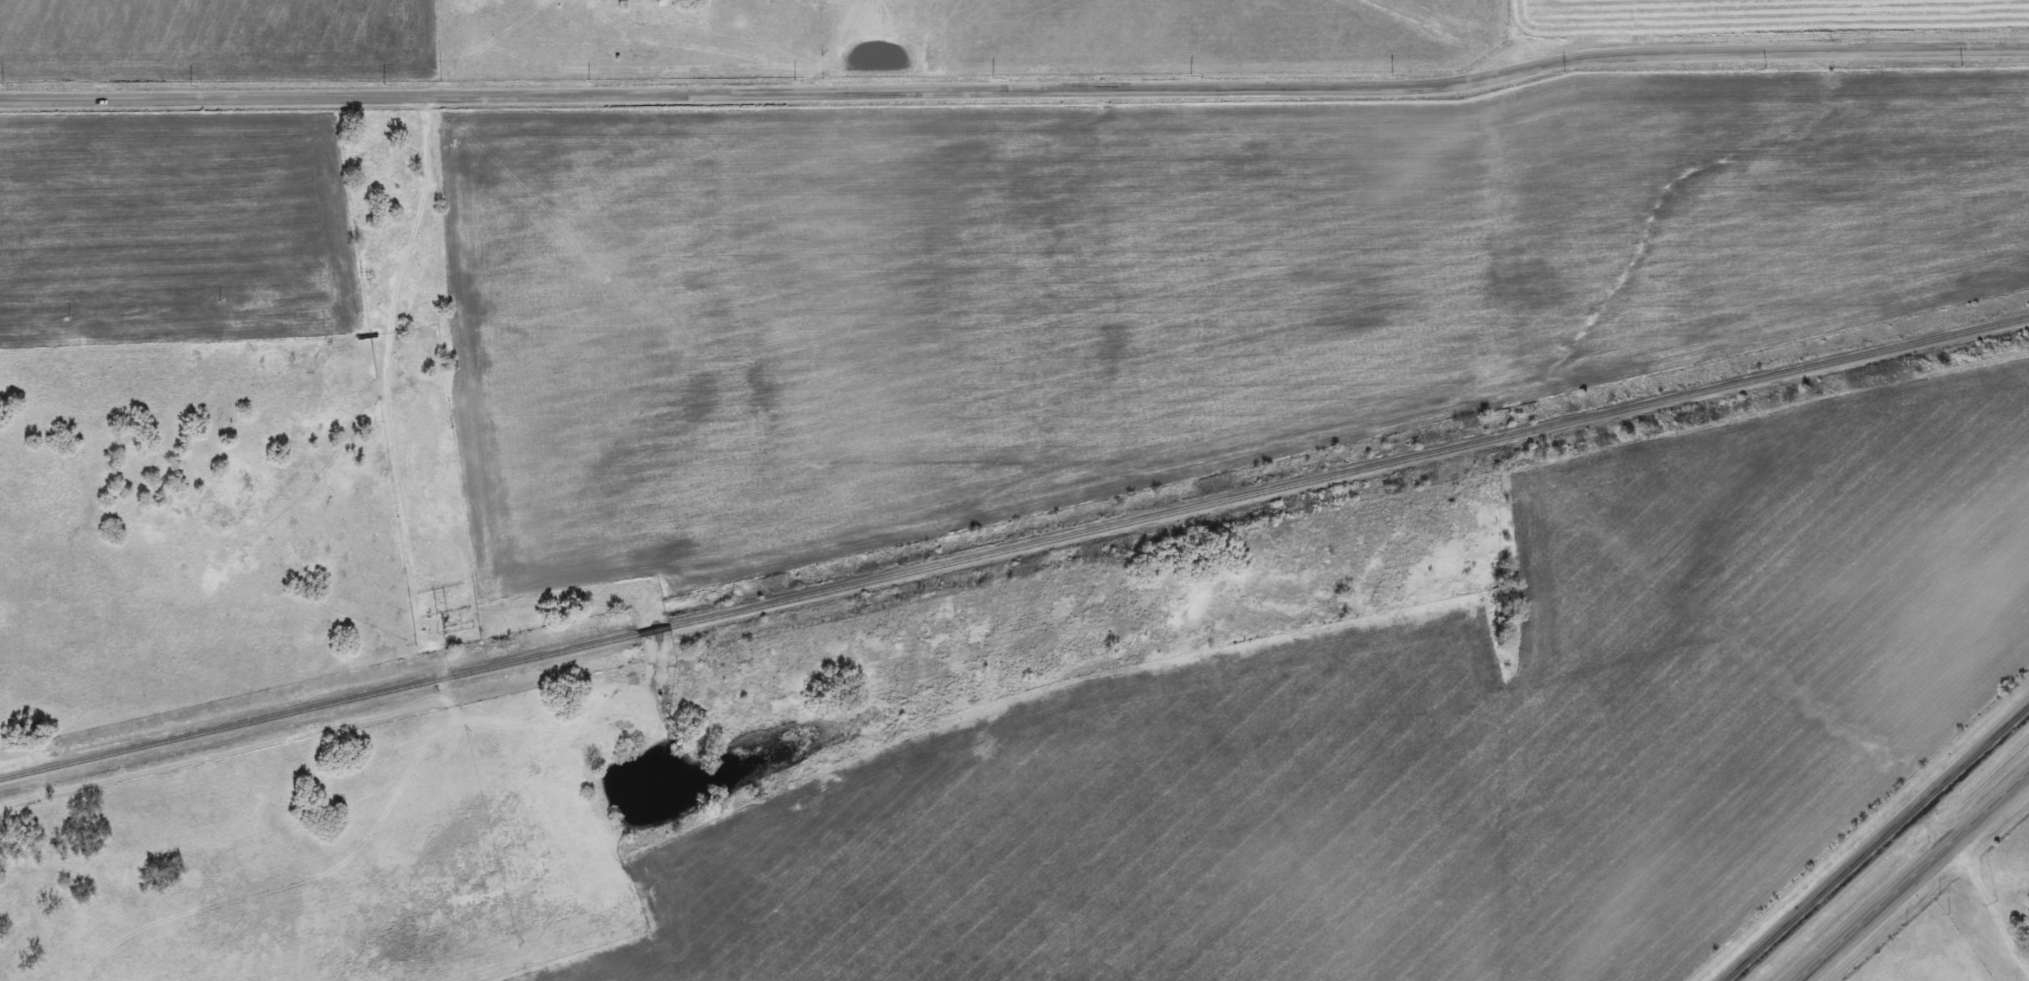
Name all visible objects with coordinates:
road: (1014, 70)
railway: (1013, 546)
road: (1888, 852)
road: (1919, 880)
road: (1983, 890)

